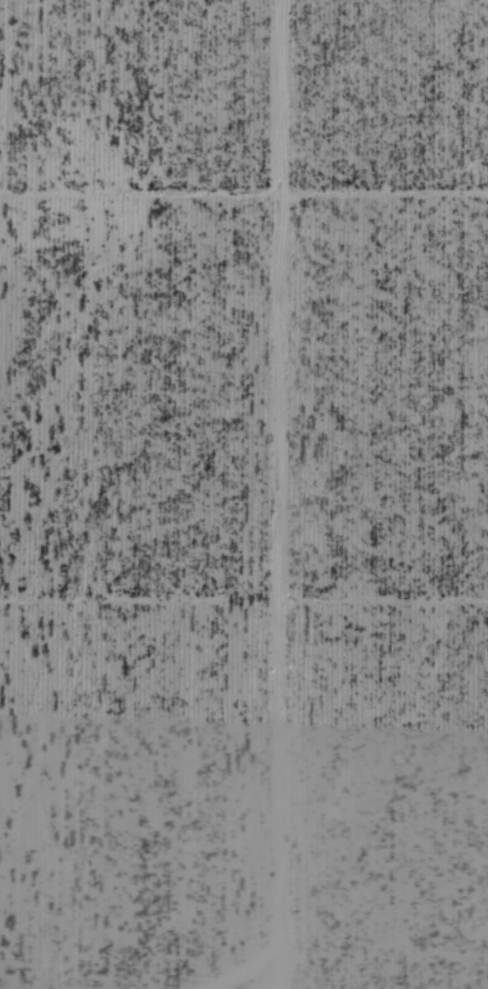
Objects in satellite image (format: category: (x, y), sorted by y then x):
crop: (244, 494)

